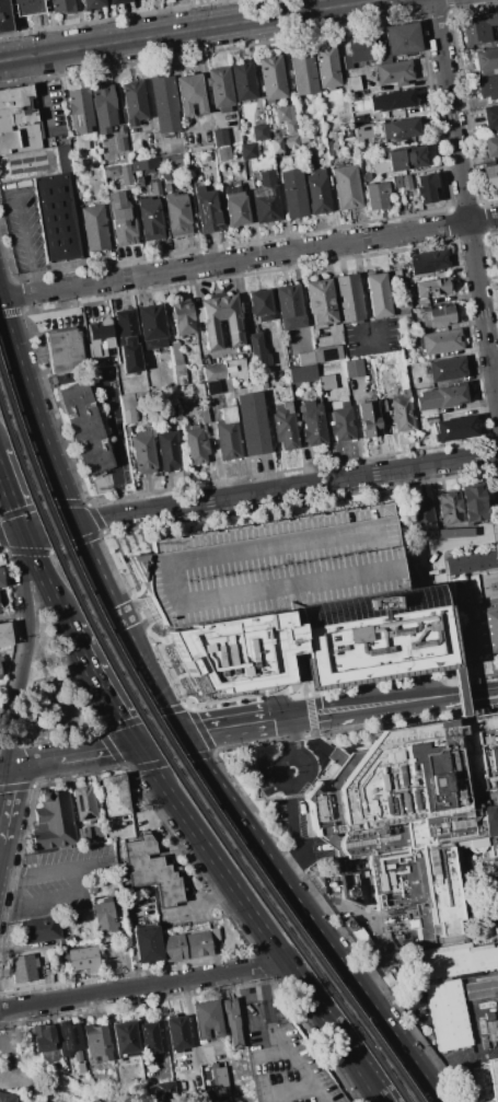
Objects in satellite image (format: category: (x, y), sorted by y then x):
building: (117, 1)
building: (92, 3)
building: (62, 5)
building: (24, 9)
building: (4, 16)
building: (478, 28)
road: (188, 30)
building: (401, 38)
building: (361, 48)
building: (486, 60)
building: (346, 62)
building: (326, 67)
building: (302, 71)
building: (393, 72)
building: (271, 78)
building: (243, 81)
building: (351, 83)
building: (488, 86)
building: (220, 88)
road: (204, 90)
road: (39, 93)
road: (146, 94)
building: (189, 94)
building: (394, 100)
building: (132, 103)
building: (164, 103)
building: (103, 107)
building: (79, 109)
building: (285, 114)
building: (490, 116)
building: (18, 120)
building: (291, 128)
building: (398, 128)
building: (362, 131)
building: (259, 132)
building: (219, 138)
building: (81, 143)
building: (120, 143)
building: (283, 144)
building: (490, 146)
building: (247, 151)
building: (223, 153)
building: (205, 156)
building: (401, 160)
building: (28, 164)
building: (144, 164)
building: (111, 171)
building: (165, 174)
building: (490, 175)
building: (125, 176)
building: (366, 177)
building: (389, 179)
building: (406, 182)
building: (396, 183)
building: (166, 187)
building: (346, 187)
building: (426, 187)
building: (154, 188)
building: (317, 192)
building: (292, 193)
building: (377, 196)
building: (265, 198)
road: (465, 201)
building: (235, 208)
building: (206, 209)
building: (176, 212)
building: (58, 219)
building: (120, 219)
building: (150, 219)
parking lot: (24, 224)
building: (93, 228)
road: (27, 235)
road: (248, 257)
building: (430, 260)
building: (431, 288)
road: (362, 291)
building: (378, 294)
building: (348, 299)
building: (320, 303)
building: (259, 304)
building: (402, 305)
building: (289, 308)
building: (402, 314)
building: (437, 315)
building: (182, 317)
building: (152, 326)
building: (126, 329)
building: (234, 334)
building: (100, 337)
building: (439, 341)
building: (62, 350)
building: (257, 351)
building: (327, 353)
building: (305, 358)
building: (177, 363)
building: (354, 368)
building: (445, 369)
building: (223, 371)
building: (277, 373)
building: (312, 375)
building: (296, 376)
building: (326, 382)
building: (212, 387)
building: (441, 396)
building: (382, 405)
building: (402, 411)
building: (129, 416)
building: (204, 416)
road: (33, 417)
building: (341, 419)
building: (369, 419)
building: (313, 422)
building: (253, 424)
road: (107, 426)
building: (286, 426)
road: (356, 426)
building: (83, 427)
building: (454, 428)
building: (227, 434)
building: (195, 446)
building: (167, 450)
building: (143, 454)
road: (248, 495)
road: (11, 503)
building: (475, 504)
building: (450, 508)
traffic signals: (74, 523)
building: (422, 523)
traffic signals: (22, 532)
building: (453, 532)
road: (473, 541)
building: (471, 561)
road: (93, 565)
building: (273, 567)
parking lot: (273, 567)
building: (422, 571)
building: (0, 583)
road: (13, 614)
road: (137, 614)
building: (491, 627)
building: (475, 633)
building: (4, 634)
building: (373, 637)
road: (71, 642)
road: (13, 648)
road: (26, 652)
building: (239, 652)
building: (1, 664)
road: (139, 666)
building: (0, 676)
road: (460, 691)
road: (467, 692)
road: (420, 693)
park: (51, 696)
road: (345, 697)
road: (230, 714)
road: (364, 715)
road: (288, 716)
traffic signals: (173, 722)
road: (179, 732)
road: (153, 734)
road: (238, 734)
road: (291, 741)
traffic signals: (187, 743)
road: (161, 744)
traffic signals: (135, 746)
road: (70, 756)
railway: (176, 756)
road: (202, 764)
road: (277, 770)
road: (4, 772)
road: (306, 772)
railway: (174, 773)
building: (114, 794)
building: (82, 802)
road: (5, 804)
building: (414, 812)
building: (54, 820)
road: (247, 828)
building: (83, 835)
road: (294, 835)
road: (210, 854)
road: (54, 871)
building: (151, 872)
building: (345, 888)
road: (497, 895)
road: (49, 898)
building: (104, 916)
building: (73, 918)
road: (371, 925)
building: (39, 929)
building: (215, 935)
building: (65, 942)
building: (147, 944)
building: (198, 944)
building: (173, 948)
building: (82, 959)
building: (23, 967)
road: (343, 970)
building: (451, 983)
road: (142, 984)
building: (496, 1007)
building: (206, 1019)
building: (230, 1021)
road: (190, 1022)
road: (255, 1026)
road: (336, 1031)
building: (177, 1033)
building: (125, 1037)
building: (69, 1039)
building: (149, 1039)
building: (45, 1040)
building: (97, 1042)
road: (485, 1052)
parking lot: (283, 1053)
building: (77, 1056)
road: (289, 1057)
building: (486, 1079)
road: (424, 1083)
road: (428, 1083)
building: (161, 1088)
road: (283, 1089)
building: (5, 1098)
building: (43, 1101)

